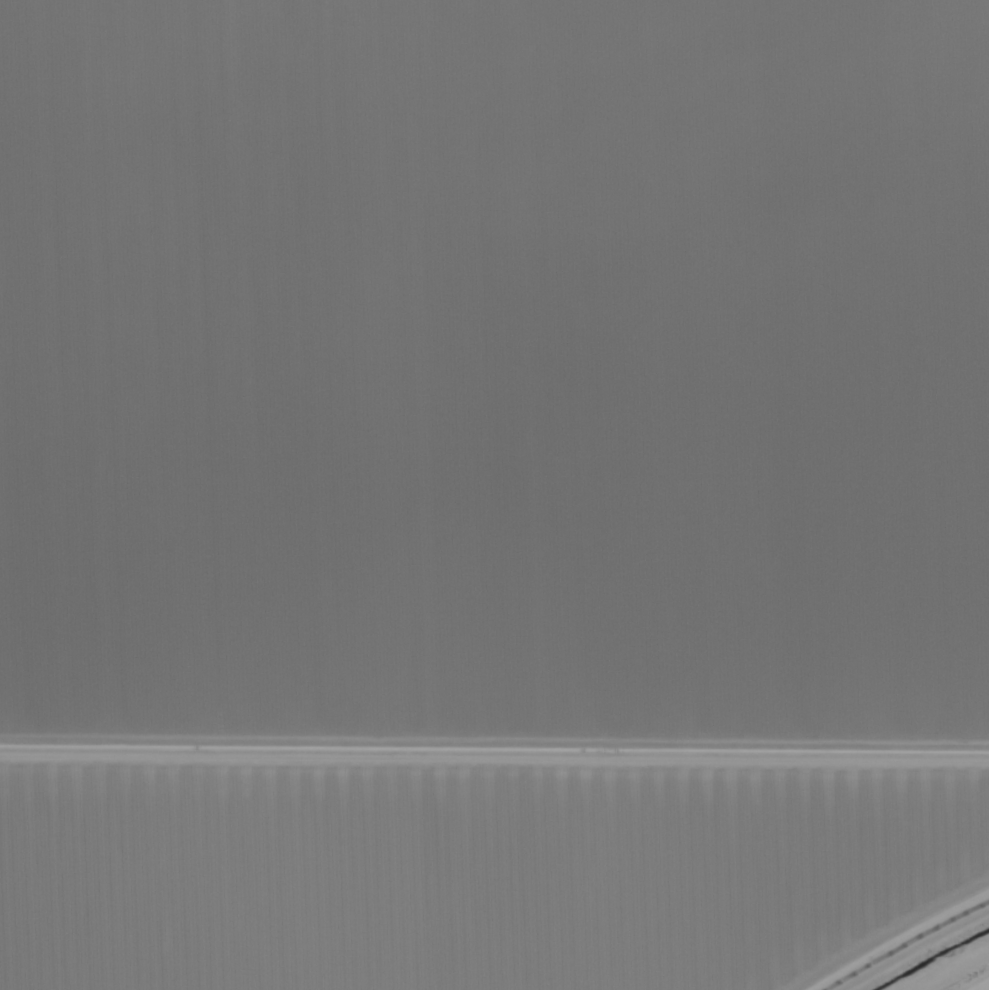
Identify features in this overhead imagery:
road: (494, 776)

